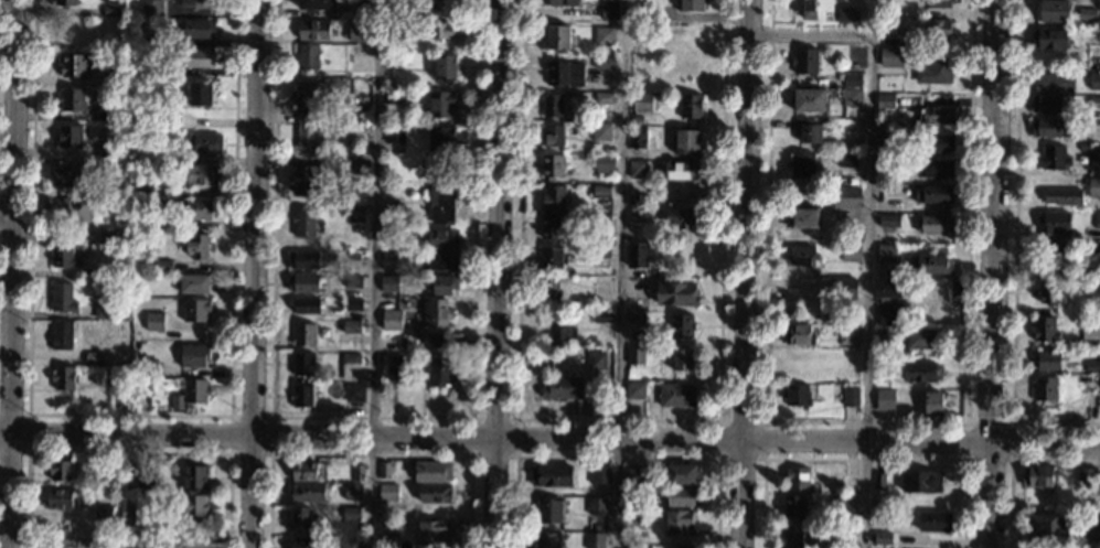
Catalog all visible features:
building: (64, 2)
building: (564, 2)
building: (194, 3)
building: (317, 3)
building: (940, 3)
building: (691, 4)
building: (387, 7)
building: (151, 8)
building: (805, 8)
building: (365, 9)
building: (110, 10)
building: (408, 10)
building: (424, 10)
building: (449, 10)
building: (610, 10)
building: (1053, 10)
building: (638, 14)
building: (844, 14)
building: (1087, 14)
building: (884, 21)
building: (199, 29)
building: (313, 29)
building: (938, 29)
building: (444, 30)
building: (356, 32)
building: (396, 34)
building: (604, 35)
building: (558, 37)
road: (822, 37)
building: (1049, 39)
building: (150, 40)
building: (357, 50)
building: (307, 56)
building: (197, 57)
building: (891, 57)
building: (394, 60)
building: (805, 61)
building: (604, 62)
building: (1093, 62)
building: (74, 64)
building: (854, 65)
building: (445, 66)
building: (150, 69)
building: (935, 71)
building: (557, 73)
building: (119, 77)
building: (851, 78)
building: (1094, 80)
building: (1055, 83)
building: (310, 92)
building: (200, 93)
building: (396, 96)
building: (852, 97)
building: (74, 98)
building: (605, 98)
building: (810, 99)
building: (360, 101)
building: (642, 101)
building: (885, 101)
building: (1094, 101)
building: (441, 104)
building: (553, 105)
building: (1047, 105)
building: (692, 106)
building: (118, 111)
building: (937, 115)
building: (362, 118)
building: (638, 119)
building: (170, 121)
building: (1050, 128)
building: (308, 131)
building: (601, 131)
building: (808, 131)
building: (395, 133)
building: (70, 136)
building: (553, 136)
building: (638, 137)
building: (441, 139)
building: (888, 140)
building: (686, 141)
building: (204, 143)
building: (937, 143)
building: (855, 144)
building: (1083, 146)
building: (105, 150)
building: (120, 150)
building: (1094, 153)
building: (848, 158)
building: (1055, 158)
building: (887, 162)
building: (605, 163)
building: (802, 164)
building: (105, 166)
building: (359, 166)
building: (553, 166)
building: (638, 169)
building: (937, 169)
building: (680, 170)
building: (200, 175)
building: (63, 176)
building: (302, 180)
building: (145, 182)
building: (1093, 186)
building: (600, 191)
building: (936, 194)
road: (15, 196)
building: (554, 196)
building: (1064, 196)
building: (846, 197)
building: (634, 201)
building: (442, 205)
building: (151, 206)
building: (68, 208)
building: (199, 209)
road: (7, 211)
building: (354, 213)
building: (394, 216)
building: (681, 217)
building: (802, 217)
building: (889, 219)
building: (1097, 219)
building: (163, 221)
building: (599, 221)
building: (303, 222)
building: (1055, 222)
building: (937, 224)
building: (552, 227)
building: (111, 234)
building: (391, 234)
building: (441, 238)
building: (887, 240)
building: (197, 246)
building: (851, 251)
building: (887, 252)
building: (1092, 252)
road: (1015, 254)
building: (638, 255)
building: (601, 256)
building: (802, 256)
building: (64, 257)
building: (552, 258)
building: (302, 259)
building: (355, 260)
building: (392, 260)
building: (1056, 260)
building: (440, 261)
building: (932, 265)
building: (163, 266)
building: (883, 270)
building: (100, 272)
building: (653, 272)
road: (11, 273)
road: (256, 273)
road: (498, 273)
road: (746, 273)
road: (992, 273)
building: (601, 280)
building: (353, 281)
building: (194, 283)
building: (302, 283)
road: (373, 283)
building: (389, 283)
building: (442, 283)
building: (549, 288)
road: (622, 288)
building: (846, 288)
building: (887, 289)
building: (1093, 290)
building: (1050, 292)
building: (676, 293)
road: (868, 293)
building: (62, 298)
building: (352, 304)
building: (306, 305)
building: (195, 310)
building: (105, 311)
building: (438, 312)
building: (834, 314)
building: (888, 315)
building: (602, 316)
building: (638, 318)
building: (392, 320)
building: (153, 321)
building: (351, 325)
building: (560, 325)
building: (682, 326)
building: (1045, 330)
building: (406, 331)
building: (303, 334)
building: (799, 334)
building: (62, 335)
building: (848, 335)
building: (883, 336)
building: (921, 339)
building: (1087, 340)
building: (413, 341)
building: (442, 341)
building: (1092, 353)
building: (637, 355)
building: (194, 356)
building: (94, 357)
building: (794, 357)
building: (683, 358)
building: (1048, 359)
building: (598, 361)
building: (302, 364)
building: (350, 366)
building: (393, 366)
building: (147, 367)
building: (1092, 367)
building: (882, 369)
building: (439, 372)
building: (922, 372)
building: (64, 378)
building: (115, 378)
building: (143, 386)
building: (564, 387)
building: (1045, 388)
building: (194, 390)
building: (636, 390)
building: (353, 393)
building: (301, 395)
building: (677, 395)
building: (797, 395)
building: (851, 396)
building: (885, 399)
building: (1094, 400)
building: (933, 402)
building: (606, 405)
road: (130, 413)
road: (373, 416)
road: (620, 418)
road: (867, 420)
road: (29, 431)
road: (549, 440)
road: (128, 453)
road: (268, 453)
road: (369, 453)
road: (516, 455)
road: (617, 456)
road: (763, 458)
road: (864, 459)
road: (1010, 460)
road: (1011, 461)
building: (61, 470)
building: (308, 470)
building: (384, 470)
building: (432, 471)
building: (357, 472)
building: (600, 474)
building: (682, 474)
building: (115, 475)
building: (552, 475)
building: (1038, 475)
building: (195, 476)
building: (634, 476)
building: (145, 477)
building: (798, 477)
building: (1087, 477)
building: (879, 480)
building: (921, 481)
building: (847, 482)
building: (403, 490)
building: (352, 491)
building: (307, 492)
building: (388, 492)
building: (435, 492)
building: (681, 496)
building: (60, 499)
building: (633, 499)
building: (843, 502)
building: (191, 505)
building: (597, 505)
building: (795, 505)
building: (104, 511)
building: (551, 511)
building: (348, 513)
building: (115, 514)
building: (636, 515)
building: (147, 516)
building: (301, 517)
building: (935, 520)
building: (679, 522)
building: (597, 527)
building: (1047, 527)
building: (1091, 527)
building: (846, 530)
building: (432, 533)
building: (793, 535)
building: (883, 538)
building: (548, 540)
building: (596, 540)
building: (305, 542)
building: (351, 542)
building: (640, 545)
building: (686, 546)

